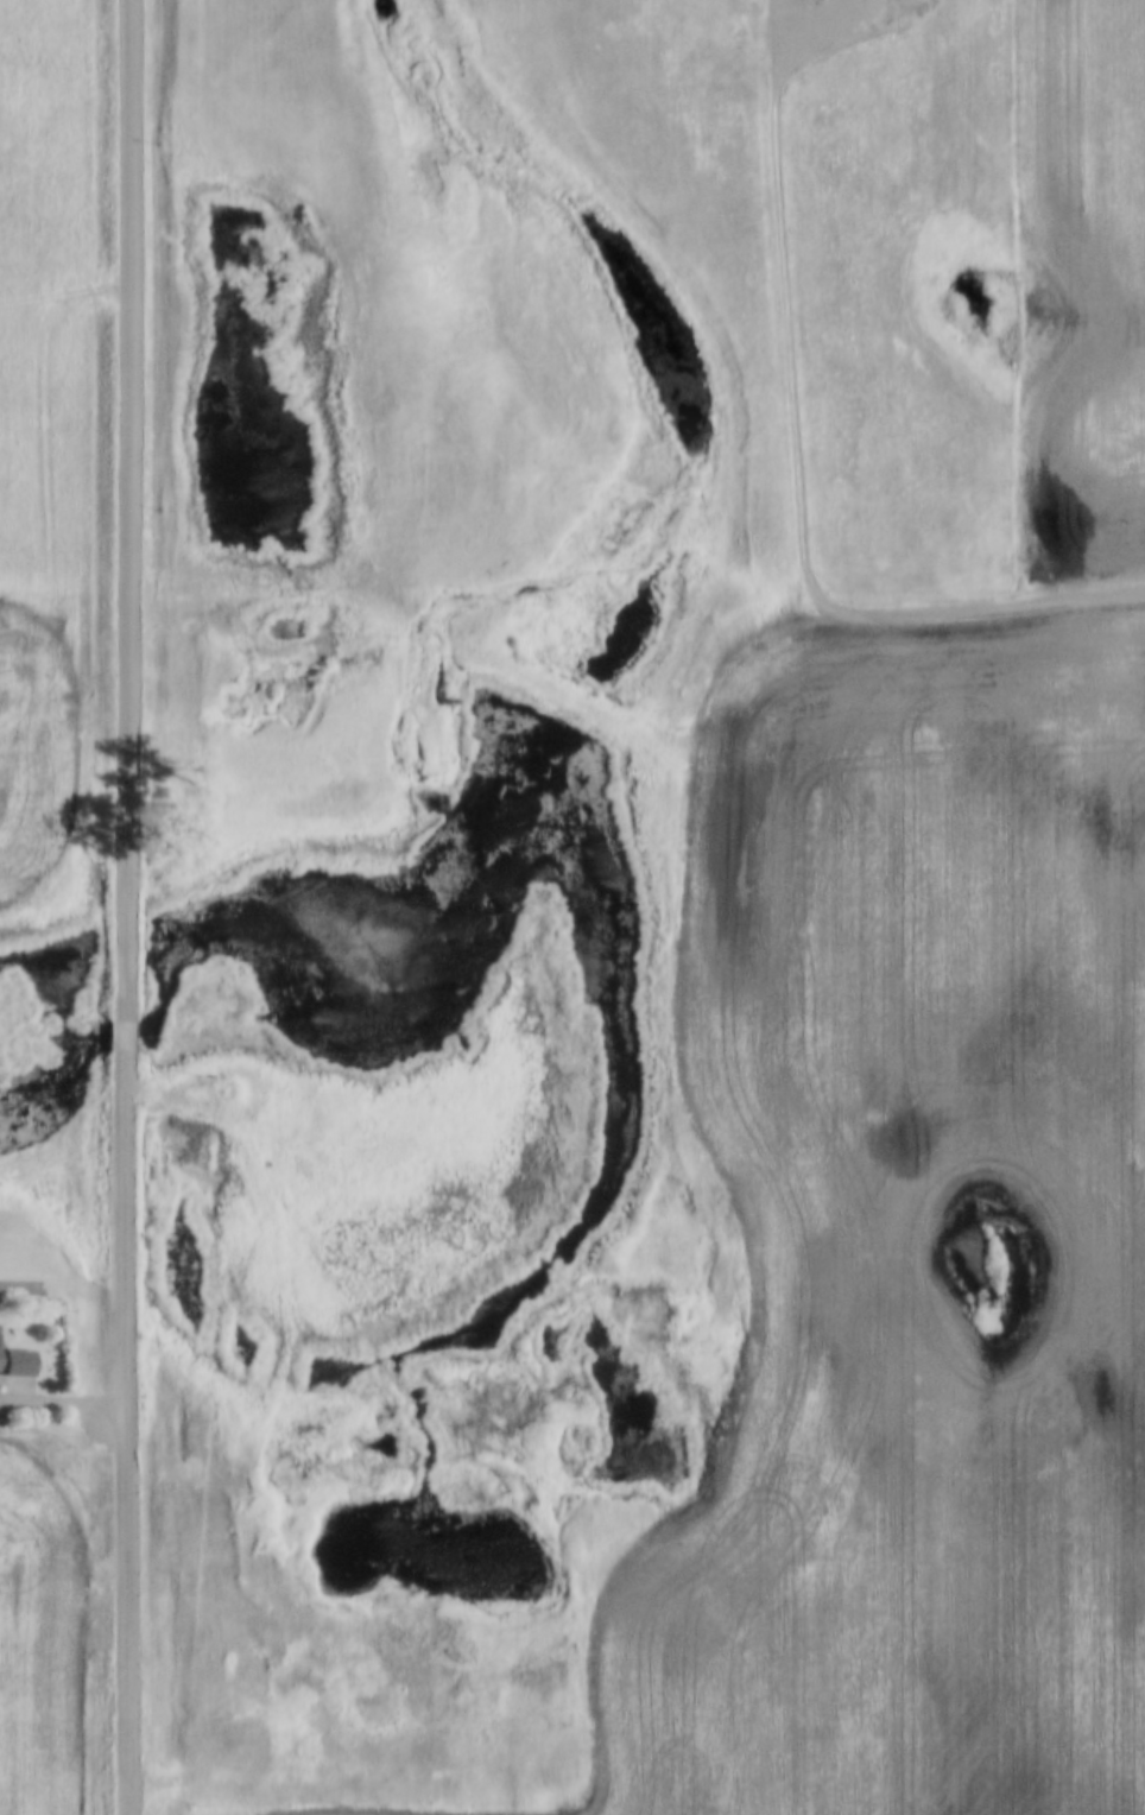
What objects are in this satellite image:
road: (64, 293)
road: (798, 449)
road: (125, 907)
building: (19, 1360)
road: (61, 1397)

